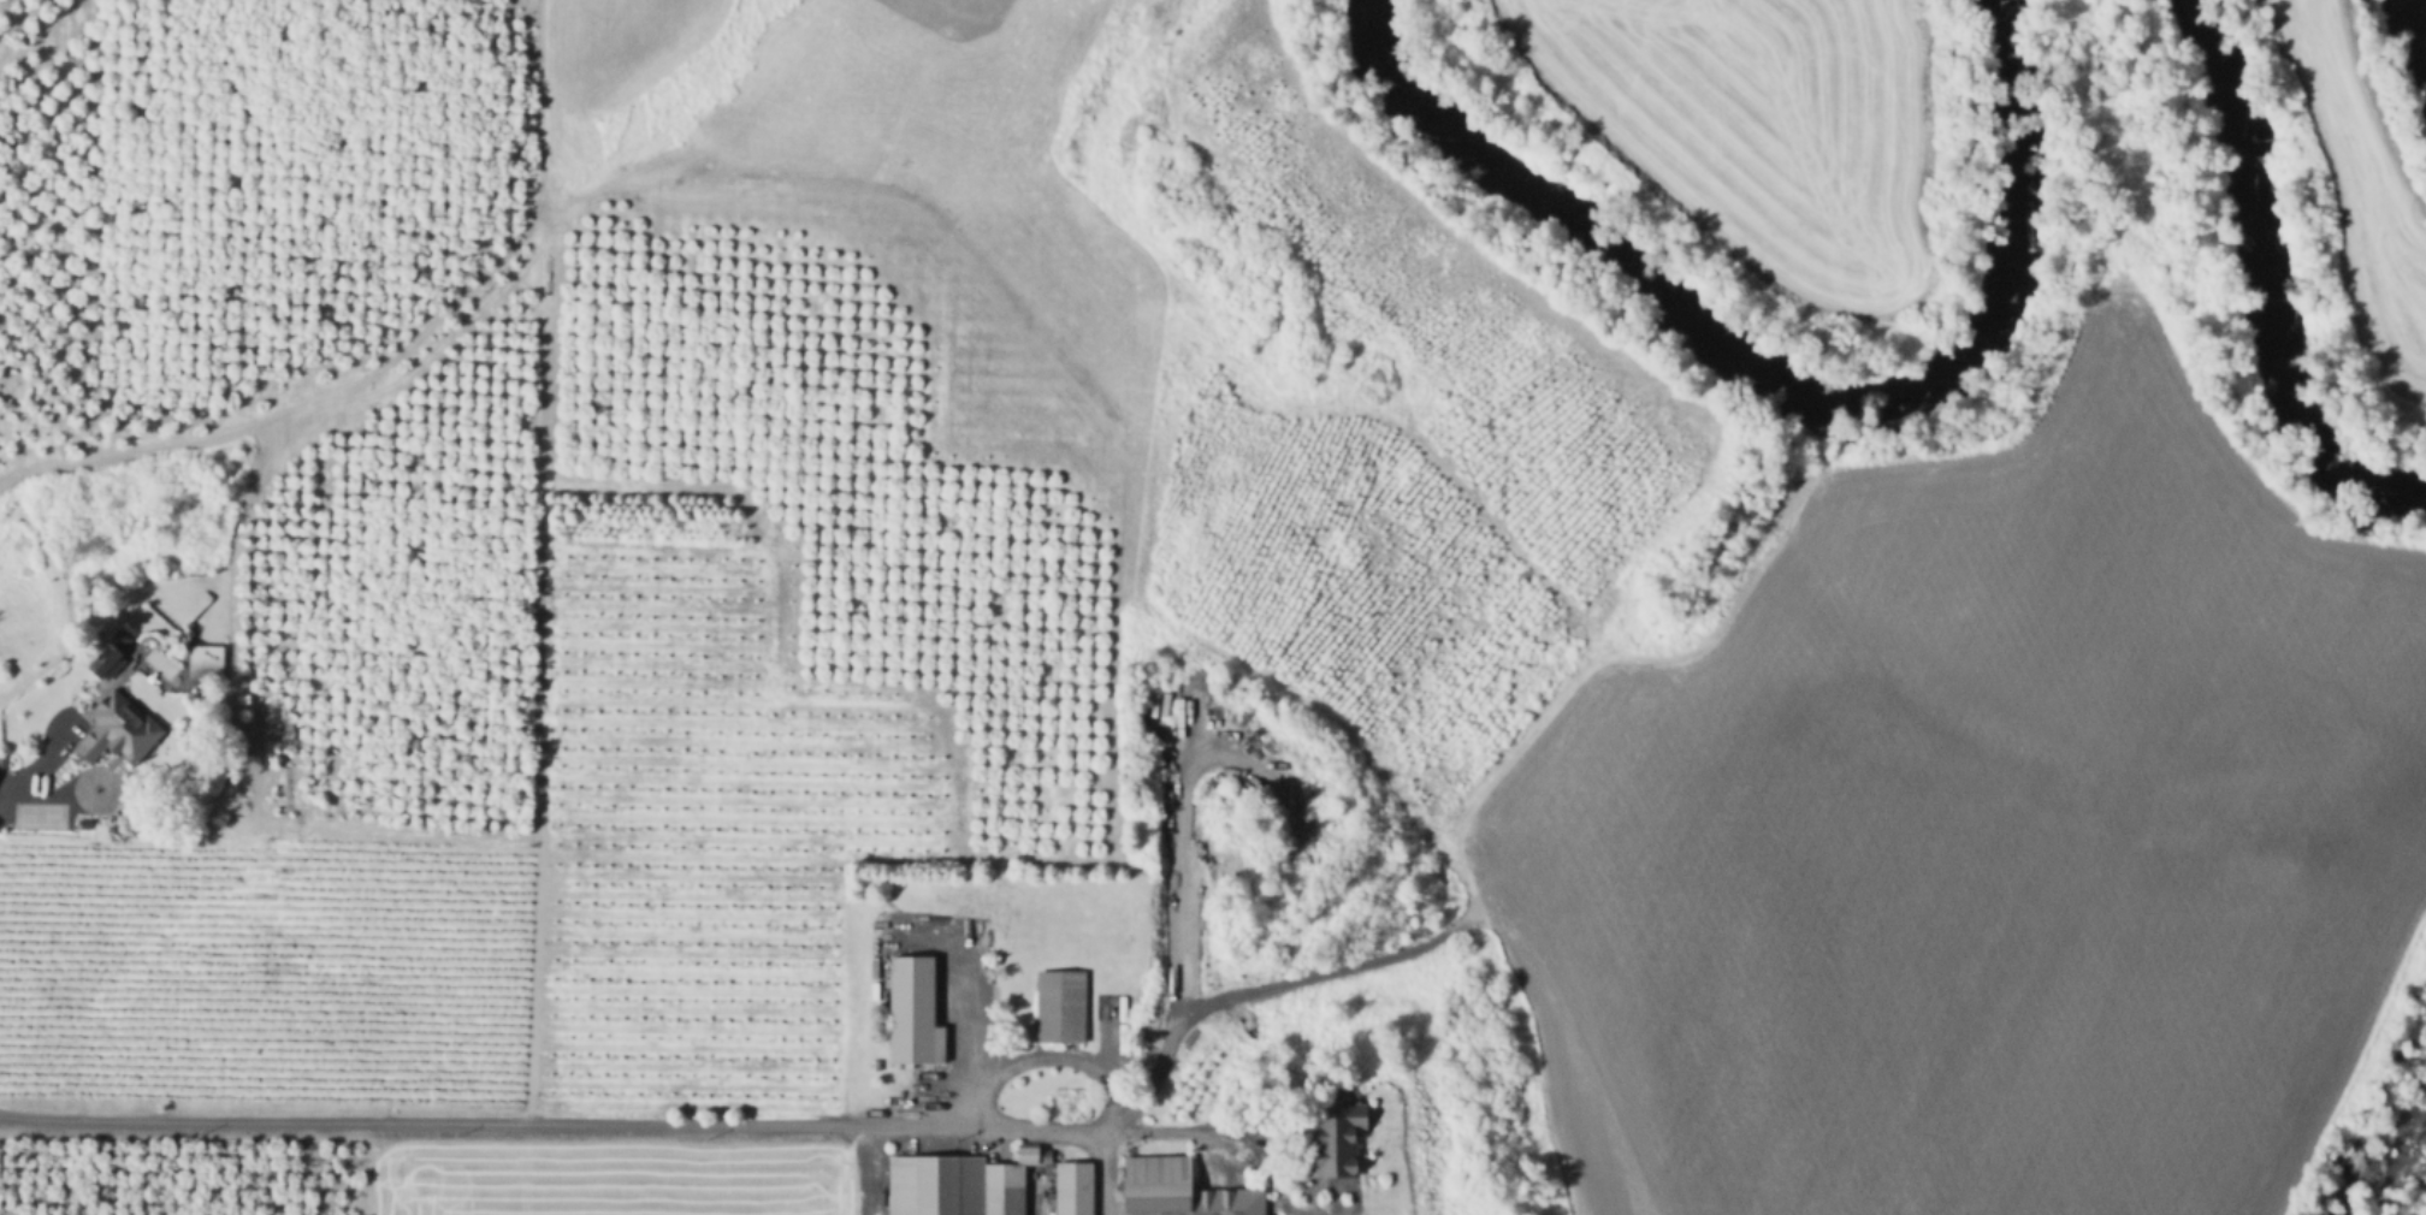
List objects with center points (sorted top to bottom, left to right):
river: (2420, 18)
crop: (1759, 123)
crop: (2361, 189)
river: (1537, 212)
river: (1981, 260)
river: (2248, 281)
building: (119, 636)
building: (102, 660)
building: (201, 660)
building: (113, 731)
road: (1499, 757)
building: (1, 760)
road: (35, 764)
road: (101, 775)
road: (42, 798)
park: (39, 813)
crop: (1986, 835)
road: (1179, 887)
building: (1059, 1009)
building: (877, 1015)
silo: (877, 1015)
building: (912, 1015)
building: (877, 1035)
silo: (877, 1035)
road: (1045, 1059)
building: (871, 1068)
road: (1116, 1118)
road: (433, 1122)
road: (1105, 1136)
building: (1336, 1142)
road: (869, 1168)
crop: (609, 1180)
building: (964, 1184)
building: (1072, 1190)
building: (1177, 1191)
road: (1344, 1204)

